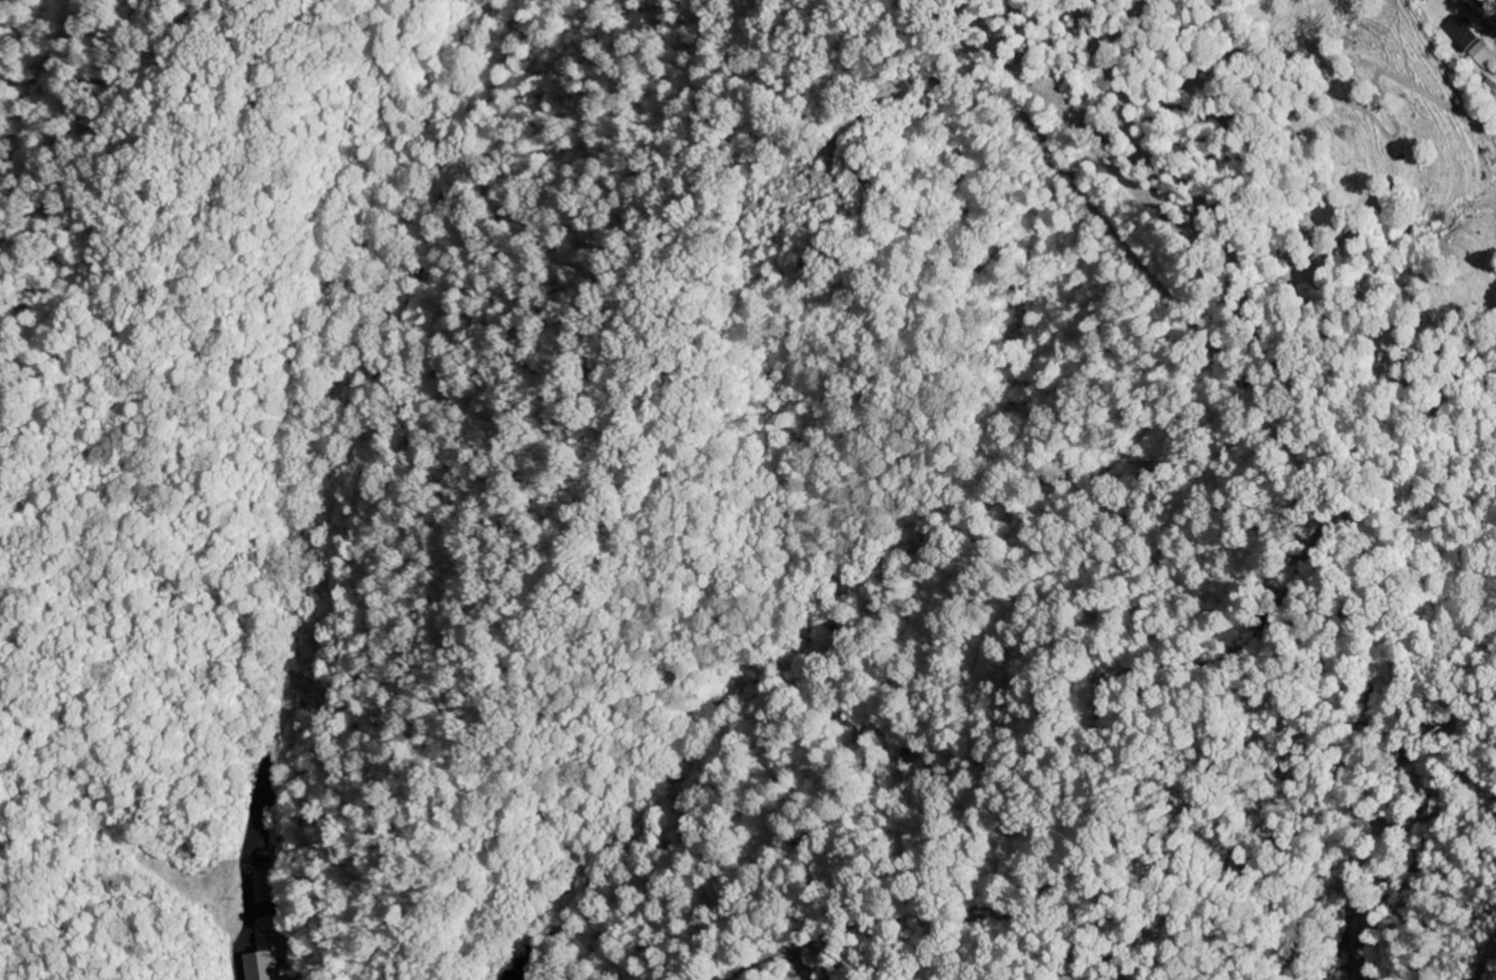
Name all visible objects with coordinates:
road: (1495, 0)
building: (1459, 33)
building: (1483, 55)
building: (265, 889)
building: (266, 960)

